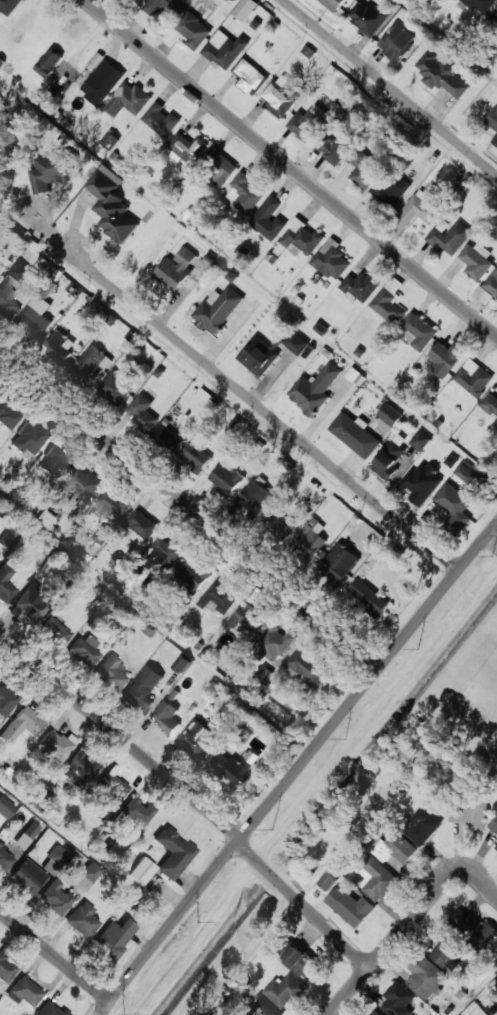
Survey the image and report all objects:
building: (139, 0)
building: (333, 4)
building: (481, 5)
building: (9, 6)
building: (162, 6)
building: (245, 8)
building: (495, 15)
building: (368, 17)
building: (193, 30)
building: (397, 41)
building: (225, 49)
building: (494, 55)
building: (49, 62)
building: (441, 74)
building: (250, 77)
building: (101, 79)
road: (390, 86)
building: (279, 96)
building: (129, 99)
building: (160, 119)
building: (492, 119)
building: (308, 122)
building: (109, 140)
building: (495, 140)
building: (186, 144)
building: (335, 147)
building: (219, 167)
road: (291, 167)
building: (363, 167)
building: (53, 170)
building: (388, 190)
building: (244, 193)
building: (111, 204)
building: (418, 210)
building: (269, 218)
building: (449, 236)
building: (301, 238)
building: (331, 259)
building: (476, 260)
building: (176, 269)
building: (492, 282)
building: (13, 288)
building: (389, 300)
building: (218, 309)
building: (35, 316)
building: (417, 330)
building: (293, 341)
building: (58, 346)
building: (258, 355)
building: (445, 358)
building: (91, 362)
building: (473, 377)
building: (116, 387)
building: (315, 388)
building: (490, 403)
road: (264, 408)
building: (141, 411)
building: (8, 414)
building: (388, 418)
building: (165, 434)
building: (355, 434)
building: (420, 440)
building: (495, 458)
building: (54, 461)
building: (225, 478)
building: (84, 482)
building: (421, 483)
building: (459, 491)
building: (256, 495)
building: (111, 503)
road: (190, 513)
building: (142, 523)
building: (279, 523)
building: (102, 535)
road: (492, 539)
building: (7, 541)
building: (309, 542)
building: (165, 553)
building: (339, 561)
building: (194, 572)
building: (5, 584)
building: (368, 596)
building: (218, 597)
building: (30, 602)
building: (244, 618)
building: (56, 633)
building: (274, 642)
building: (82, 653)
building: (181, 663)
building: (306, 666)
building: (110, 672)
building: (141, 691)
building: (6, 701)
building: (165, 717)
building: (28, 721)
building: (196, 739)
building: (53, 745)
building: (212, 756)
building: (79, 766)
road: (296, 769)
building: (237, 770)
building: (112, 785)
road: (189, 801)
building: (5, 808)
building: (138, 810)
building: (468, 811)
building: (494, 824)
building: (421, 825)
building: (27, 835)
building: (496, 846)
building: (396, 847)
building: (172, 852)
building: (5, 859)
building: (54, 860)
building: (141, 871)
building: (88, 876)
building: (27, 877)
building: (375, 877)
building: (327, 880)
road: (428, 897)
building: (56, 898)
building: (349, 905)
building: (82, 919)
building: (112, 939)
building: (461, 939)
road: (55, 955)
building: (303, 963)
building: (5, 970)
building: (424, 976)
building: (286, 990)
road: (348, 991)
building: (25, 992)
building: (398, 1000)
building: (262, 1007)
building: (49, 1010)
building: (374, 1012)

